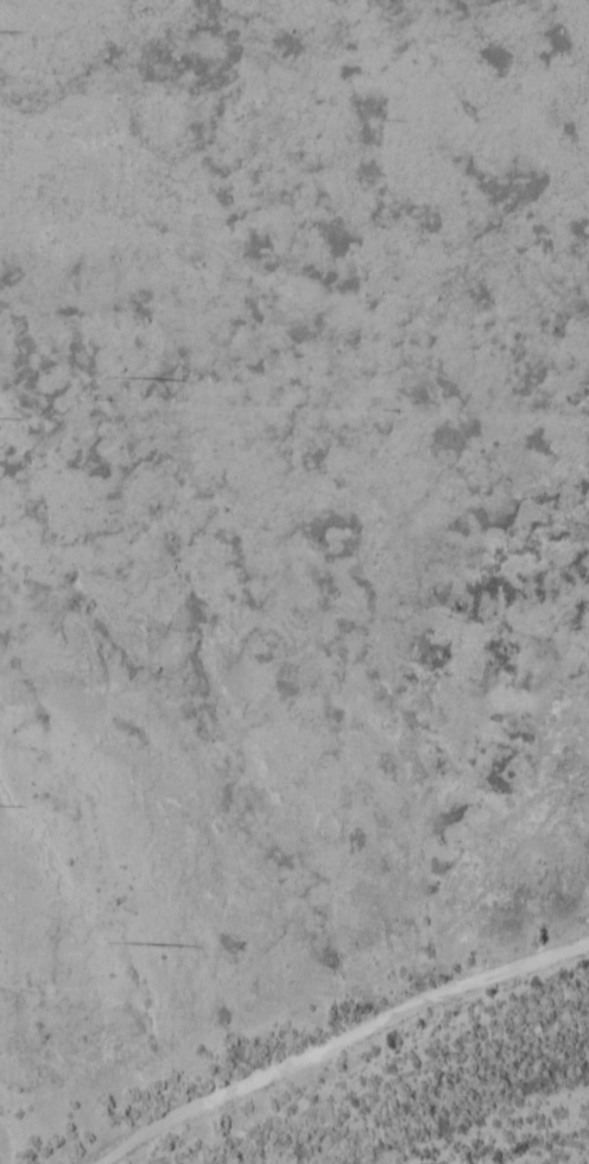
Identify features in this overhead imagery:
power tower: (113, 378)
power tower: (113, 941)
road: (337, 1043)

